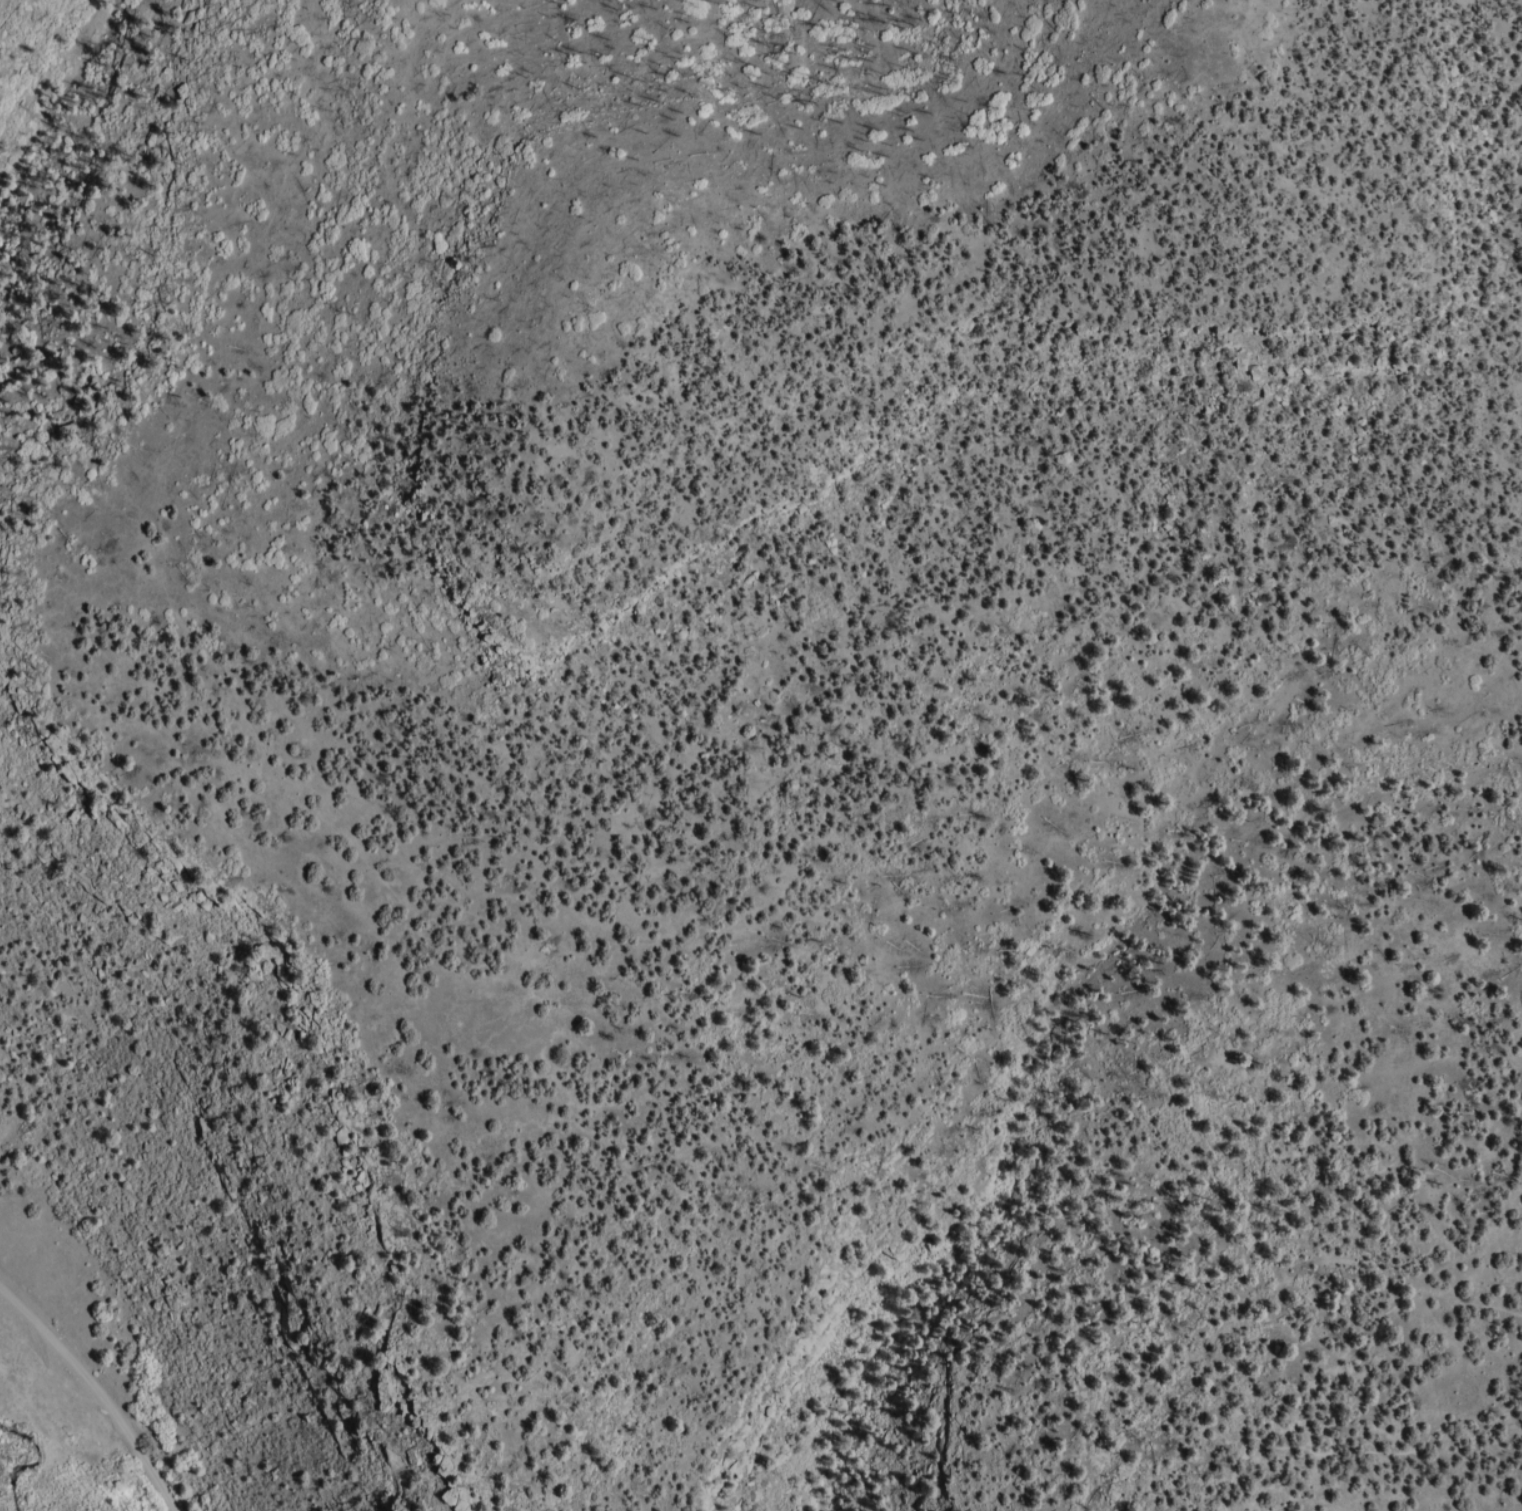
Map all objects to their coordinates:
road: (96, 1389)
road: (1360, 1453)

